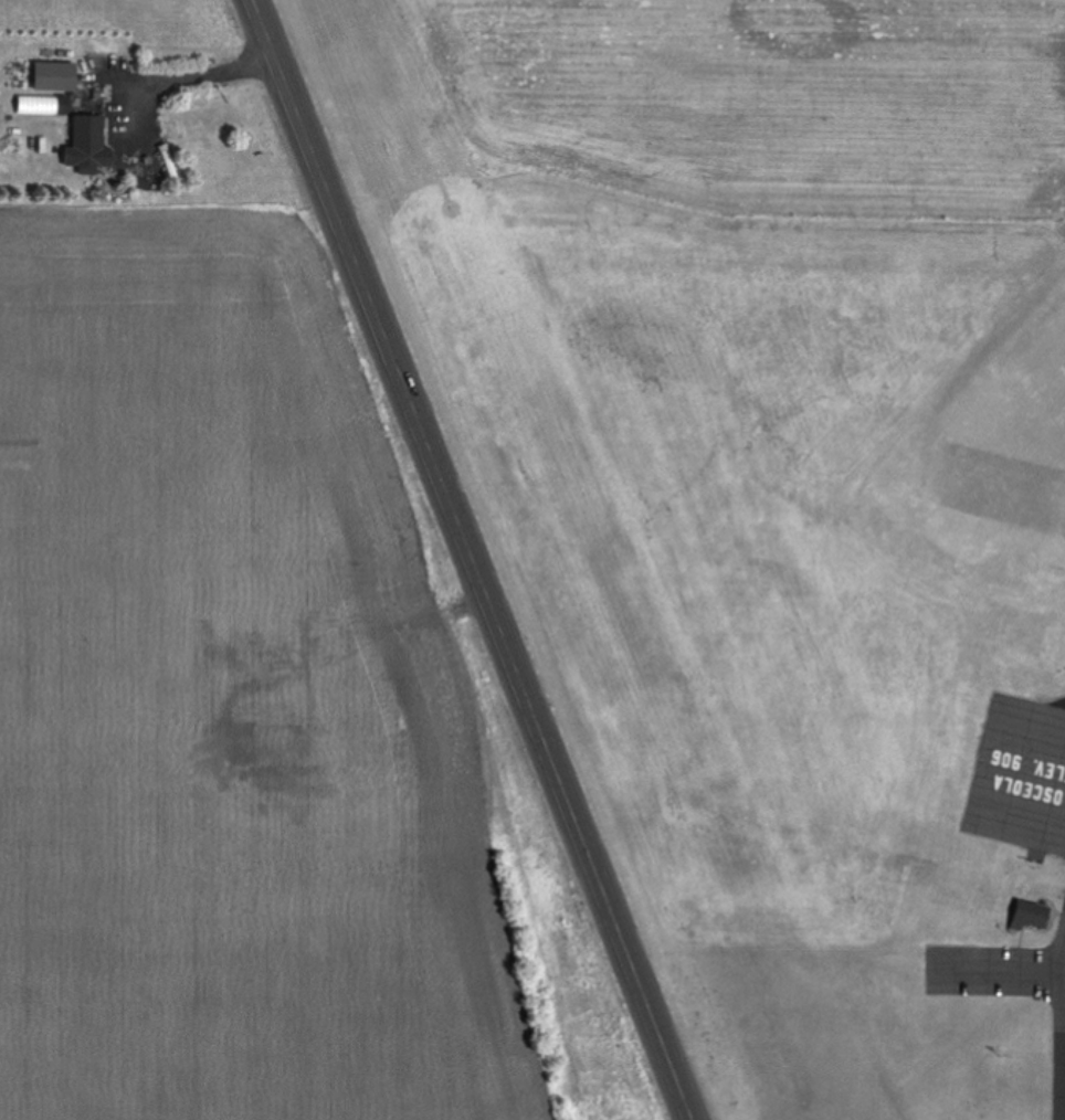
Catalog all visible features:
crop: (708, 96)
airport runway: (1006, 455)
road: (475, 559)
airport: (778, 604)
crop: (259, 712)
airport taxiway: (1042, 750)
airport apron: (1021, 774)
airport taxiway: (1062, 980)

